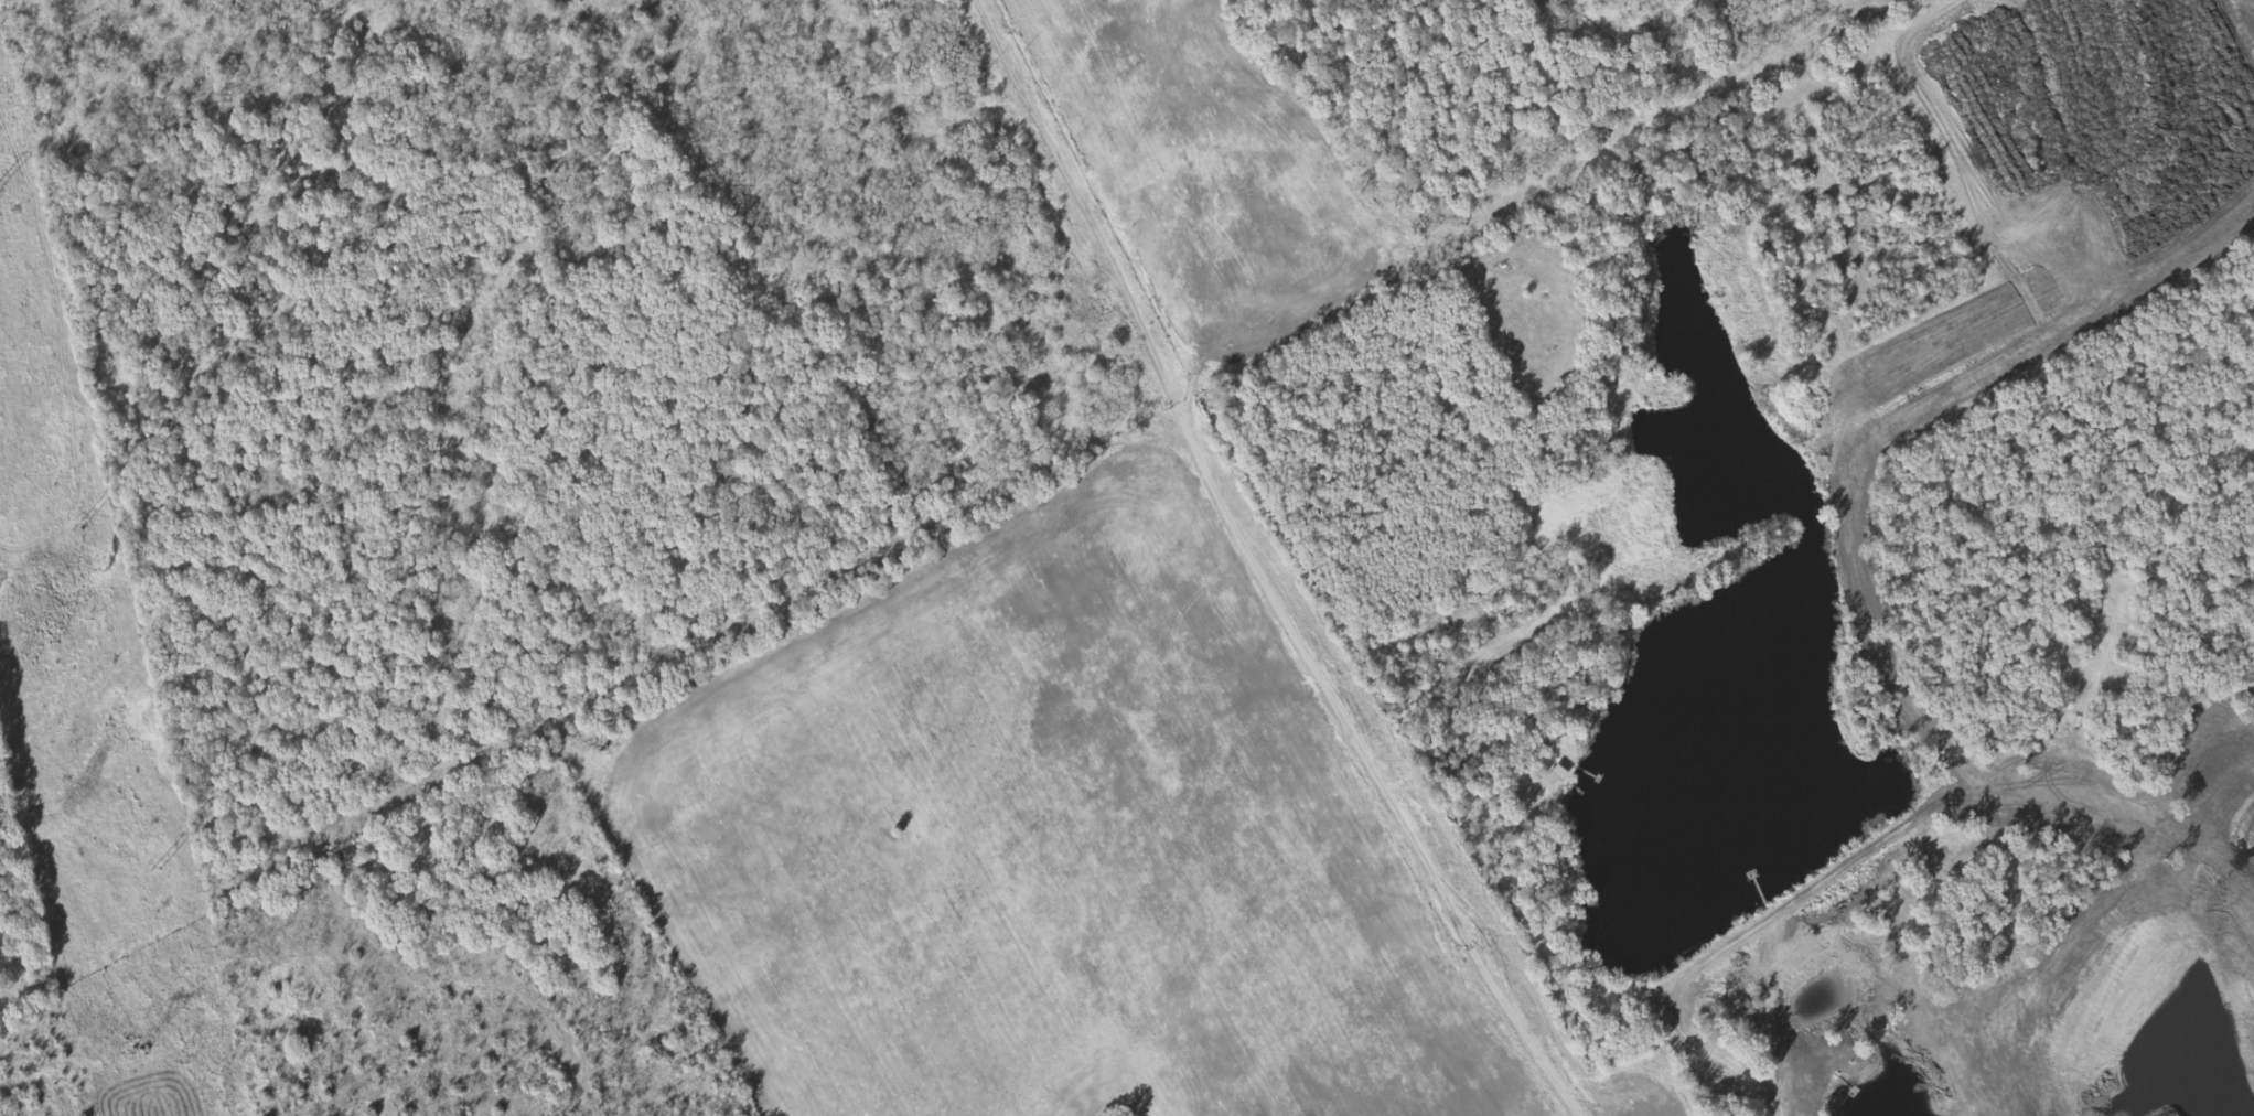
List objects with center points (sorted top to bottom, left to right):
power tower: (78, 530)
road: (1256, 568)
power tower: (157, 871)
power tower: (137, 1054)
road: (1721, 1062)

